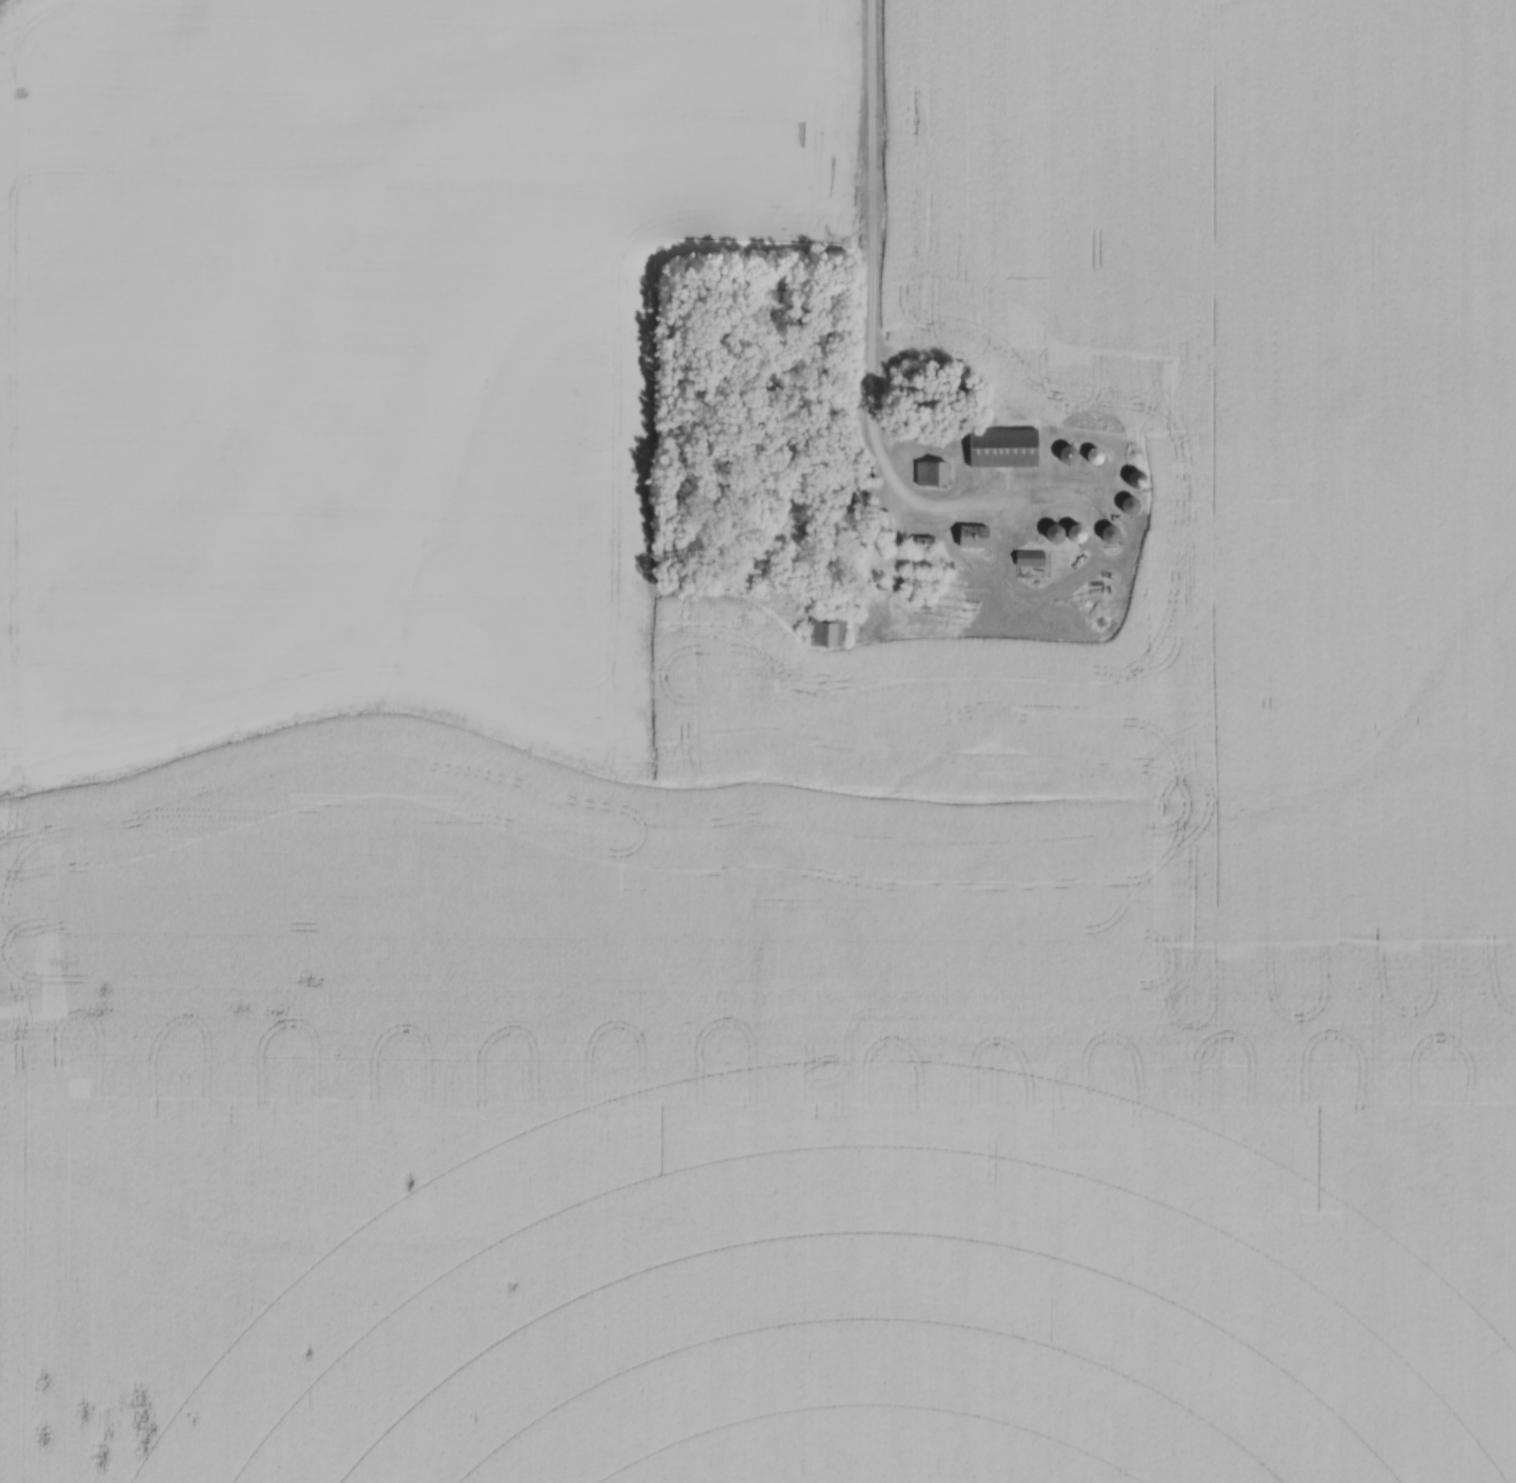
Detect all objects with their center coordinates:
road: (868, 289)
building: (1003, 448)
building: (1068, 456)
building: (1096, 456)
building: (932, 474)
building: (847, 503)
building: (1129, 506)
building: (1063, 533)
building: (1110, 535)
building: (972, 536)
building: (923, 543)
building: (1030, 558)
building: (919, 581)
building: (828, 630)

